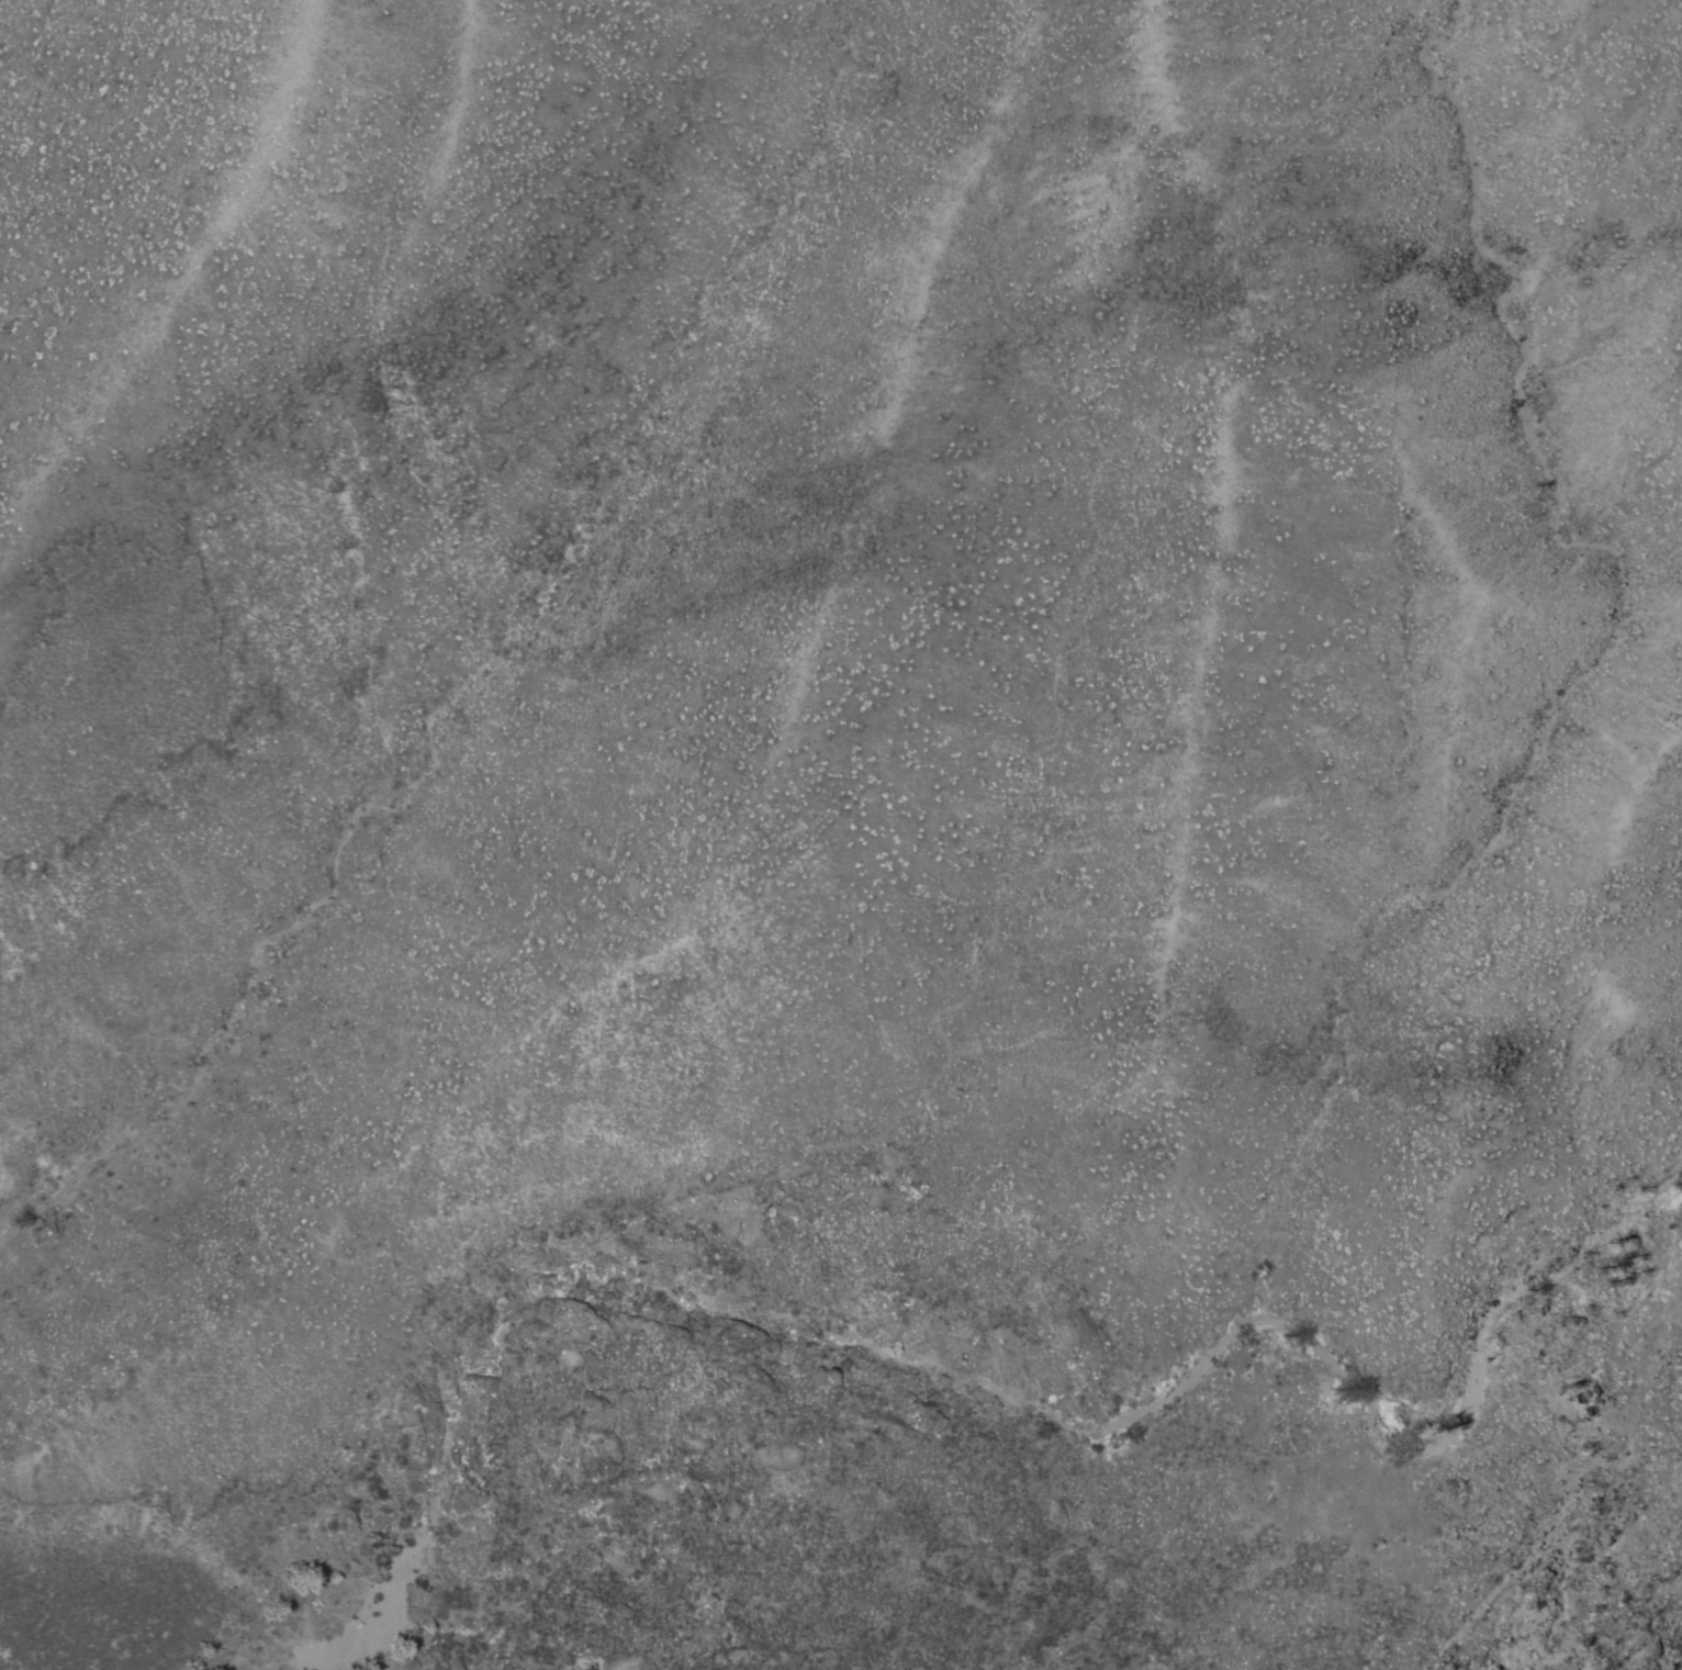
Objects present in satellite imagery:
road: (1565, 1475)

